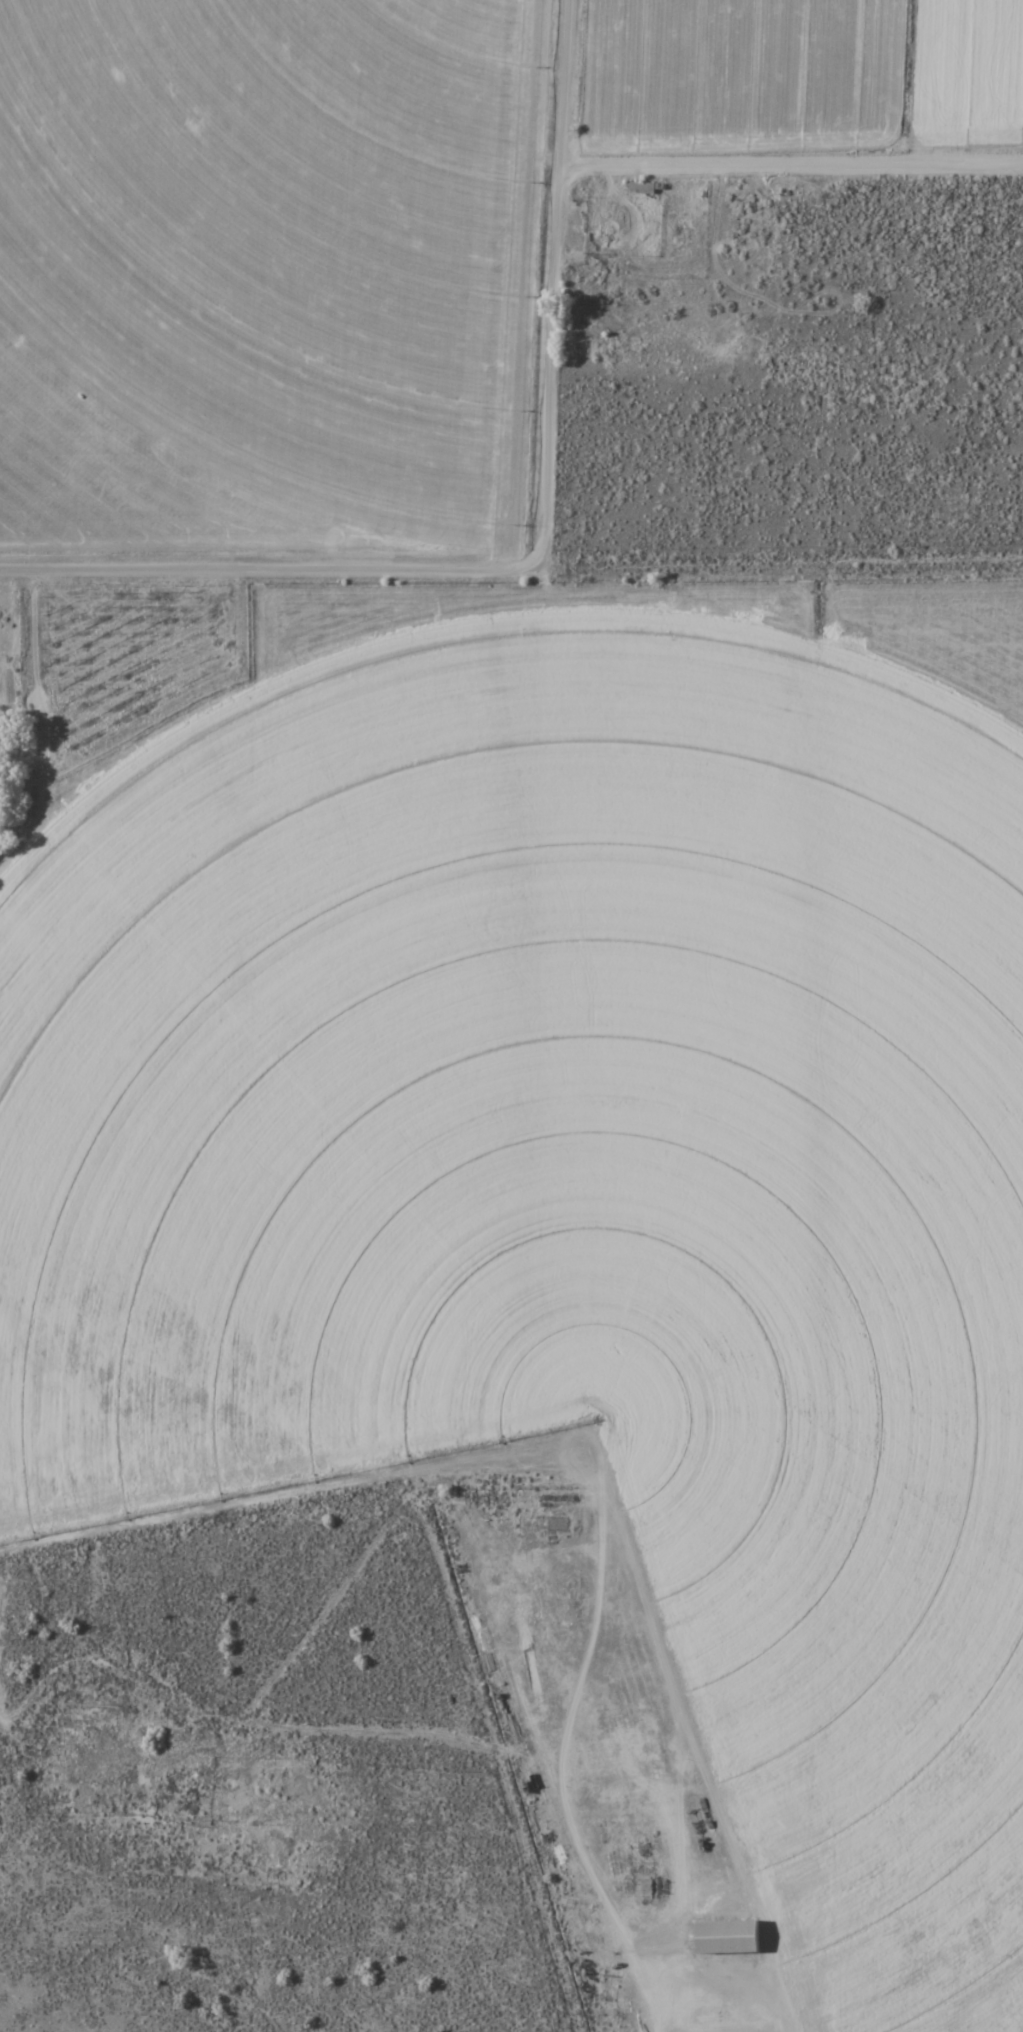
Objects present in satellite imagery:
building: (639, 185)
road: (550, 282)
road: (268, 571)
building: (559, 1854)
building: (726, 1936)

